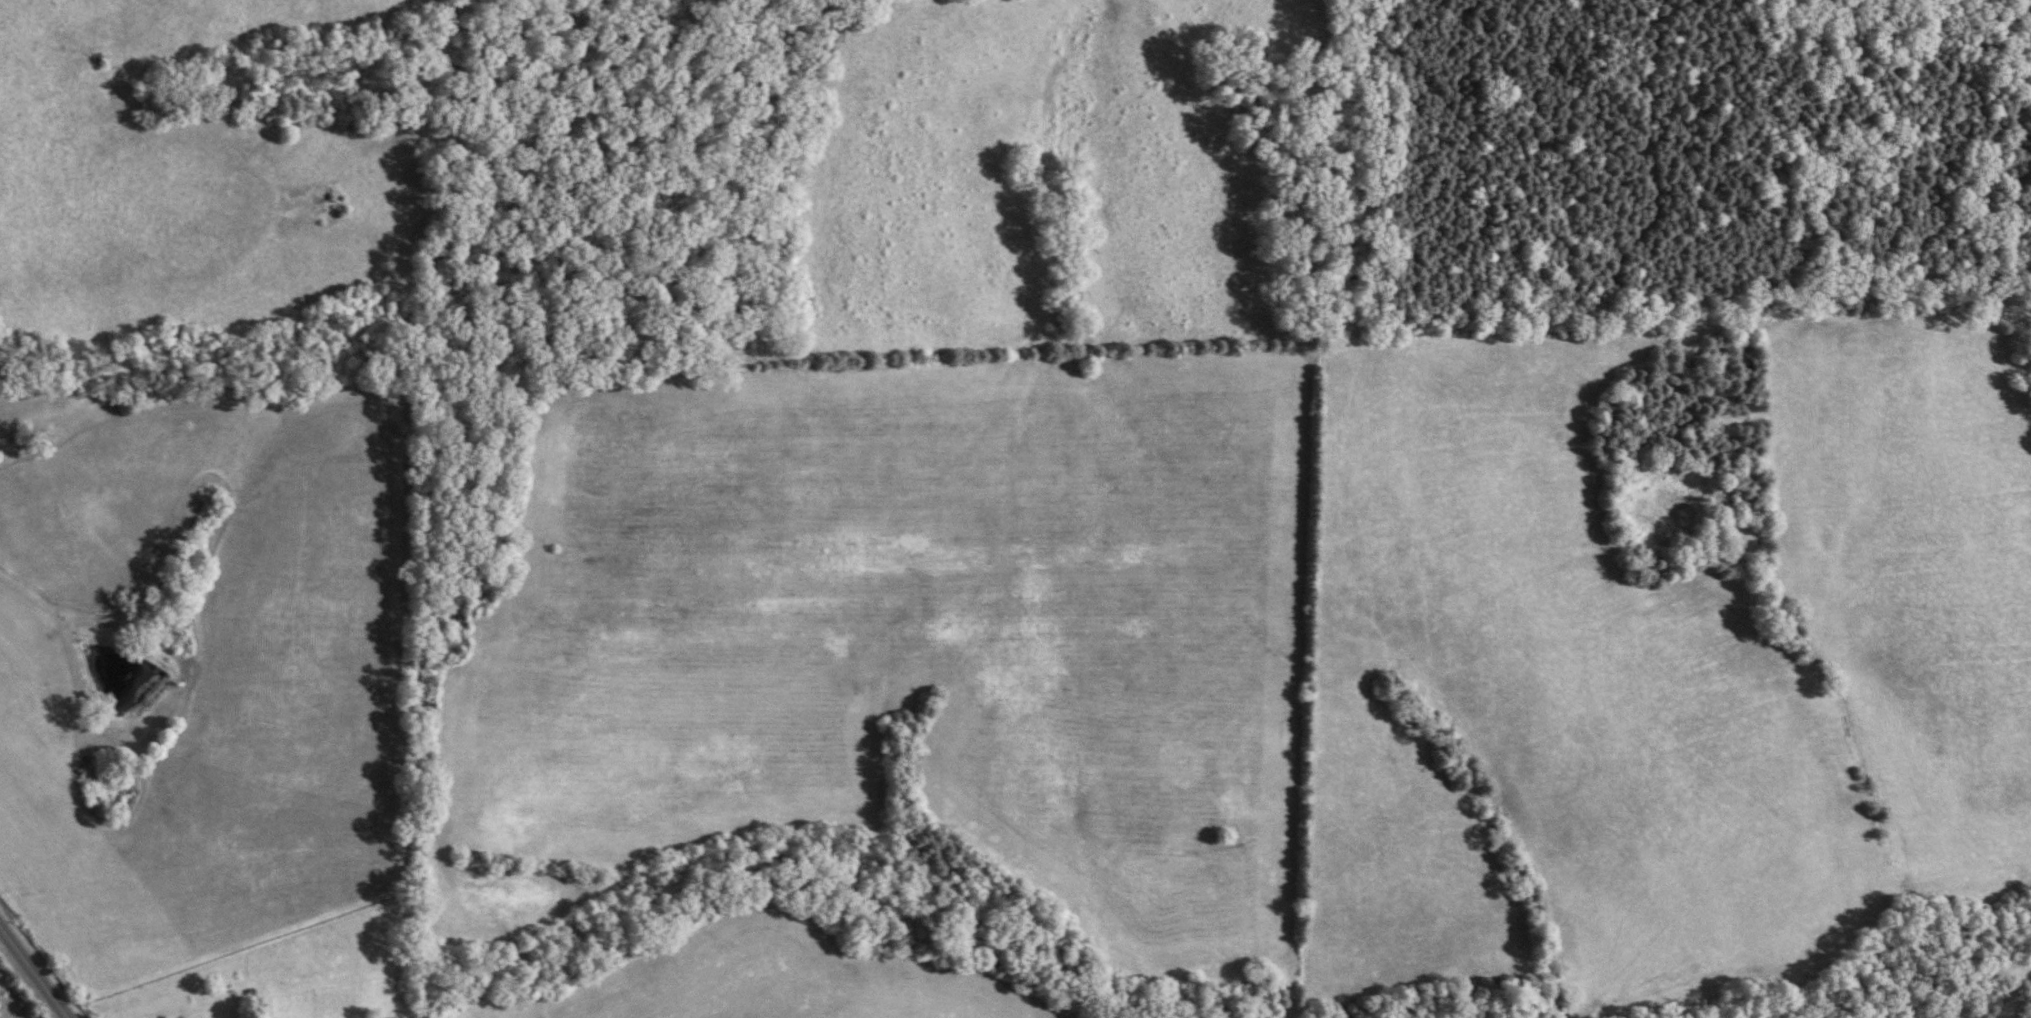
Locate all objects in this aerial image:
road: (33, 974)

